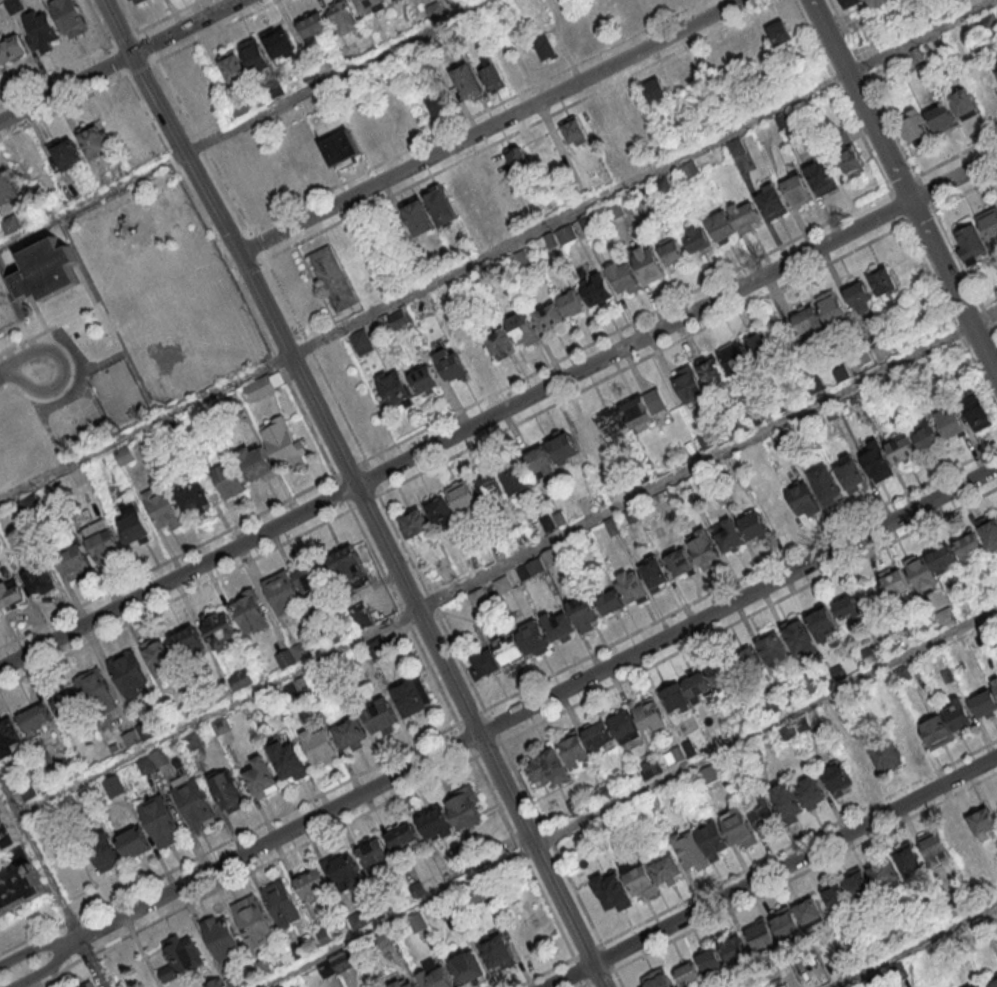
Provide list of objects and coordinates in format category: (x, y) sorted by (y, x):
building: (136, 1)
building: (849, 3)
building: (876, 3)
building: (370, 4)
building: (16, 5)
building: (435, 10)
building: (343, 15)
building: (71, 17)
building: (316, 25)
road: (121, 27)
road: (188, 27)
building: (42, 29)
building: (780, 31)
building: (281, 42)
building: (547, 47)
building: (12, 48)
building: (256, 55)
building: (234, 65)
building: (996, 66)
building: (0, 71)
building: (493, 78)
building: (468, 80)
road: (67, 88)
building: (988, 88)
building: (656, 90)
road: (840, 94)
building: (439, 101)
building: (964, 103)
road: (63, 107)
road: (148, 115)
building: (941, 118)
building: (594, 119)
road: (245, 123)
road: (489, 125)
building: (912, 125)
building: (575, 129)
road: (515, 130)
building: (95, 138)
building: (735, 146)
building: (341, 149)
building: (69, 154)
building: (519, 158)
road: (172, 159)
road: (191, 160)
building: (850, 163)
building: (689, 169)
building: (474, 177)
building: (822, 180)
building: (8, 187)
road: (904, 188)
building: (796, 189)
road: (950, 199)
building: (771, 202)
building: (440, 206)
building: (417, 215)
building: (746, 218)
building: (720, 224)
road: (245, 230)
road: (250, 231)
building: (560, 236)
building: (978, 236)
building: (696, 237)
road: (232, 238)
road: (256, 242)
road: (221, 243)
building: (671, 249)
road: (496, 250)
road: (262, 254)
road: (225, 258)
road: (80, 259)
building: (518, 260)
road: (252, 264)
building: (649, 266)
road: (243, 269)
road: (235, 271)
building: (623, 277)
building: (35, 278)
building: (332, 278)
building: (883, 281)
building: (596, 290)
building: (859, 296)
building: (571, 303)
building: (833, 308)
road: (733, 310)
park: (148, 316)
building: (548, 316)
building: (397, 319)
building: (808, 320)
road: (626, 324)
road: (51, 327)
building: (522, 329)
building: (361, 341)
building: (499, 341)
building: (762, 346)
building: (474, 354)
road: (314, 358)
building: (736, 359)
building: (451, 366)
road: (23, 370)
building: (712, 373)
building: (424, 379)
road: (214, 382)
building: (688, 385)
road: (66, 386)
building: (259, 387)
building: (393, 388)
building: (643, 410)
road: (498, 411)
building: (978, 415)
building: (612, 421)
building: (949, 422)
building: (587, 432)
building: (926, 435)
building: (283, 442)
building: (563, 446)
building: (900, 447)
building: (125, 456)
building: (255, 461)
building: (540, 461)
building: (878, 464)
building: (850, 473)
building: (514, 477)
building: (227, 478)
building: (824, 482)
building: (461, 494)
building: (801, 497)
road: (362, 500)
building: (177, 505)
building: (777, 510)
building: (440, 511)
building: (414, 523)
building: (752, 523)
building: (134, 525)
building: (990, 533)
building: (728, 536)
building: (968, 544)
building: (704, 546)
building: (105, 548)
road: (507, 561)
building: (75, 562)
building: (679, 562)
building: (347, 564)
building: (535, 567)
building: (920, 572)
building: (654, 573)
road: (740, 576)
building: (40, 580)
building: (894, 582)
building: (631, 586)
building: (291, 589)
building: (11, 594)
road: (174, 597)
building: (478, 597)
building: (609, 599)
road: (430, 601)
building: (846, 607)
building: (585, 611)
building: (250, 612)
road: (748, 613)
road: (402, 614)
building: (822, 622)
road: (427, 626)
building: (559, 626)
building: (220, 628)
building: (797, 635)
building: (534, 637)
building: (188, 641)
building: (772, 646)
building: (376, 647)
building: (510, 653)
building: (160, 656)
building: (285, 658)
building: (749, 660)
building: (484, 664)
building: (130, 674)
building: (722, 674)
building: (240, 679)
building: (995, 684)
building: (698, 687)
building: (412, 696)
building: (87, 697)
building: (675, 698)
road: (538, 701)
building: (984, 704)
building: (649, 714)
road: (469, 715)
building: (381, 716)
building: (36, 719)
building: (946, 724)
road: (491, 725)
building: (623, 725)
building: (350, 732)
building: (9, 737)
road: (464, 738)
building: (908, 739)
building: (320, 745)
road: (486, 748)
building: (575, 750)
building: (873, 757)
building: (288, 761)
building: (547, 767)
building: (650, 767)
building: (708, 774)
building: (261, 777)
building: (837, 779)
building: (227, 789)
road: (626, 796)
building: (798, 796)
building: (195, 804)
building: (464, 807)
building: (763, 814)
building: (161, 822)
building: (435, 822)
building: (983, 823)
building: (738, 827)
building: (7, 829)
building: (402, 836)
building: (712, 838)
road: (228, 839)
building: (944, 841)
road: (549, 842)
building: (134, 843)
building: (688, 851)
building: (106, 854)
building: (374, 854)
road: (522, 855)
building: (908, 860)
road: (250, 868)
building: (666, 870)
building: (344, 871)
road: (771, 871)
building: (884, 875)
building: (639, 878)
road: (52, 881)
building: (312, 885)
building: (20, 890)
building: (611, 891)
building: (847, 891)
building: (281, 904)
building: (796, 916)
building: (254, 921)
building: (417, 922)
building: (221, 935)
building: (762, 935)
road: (915, 945)
road: (38, 947)
building: (734, 948)
building: (497, 953)
building: (180, 957)
building: (709, 961)
road: (50, 967)
building: (467, 967)
building: (434, 974)
building: (688, 975)
building: (656, 979)
building: (810, 981)
building: (404, 983)
building: (993, 984)
building: (89, 985)
building: (979, 985)

